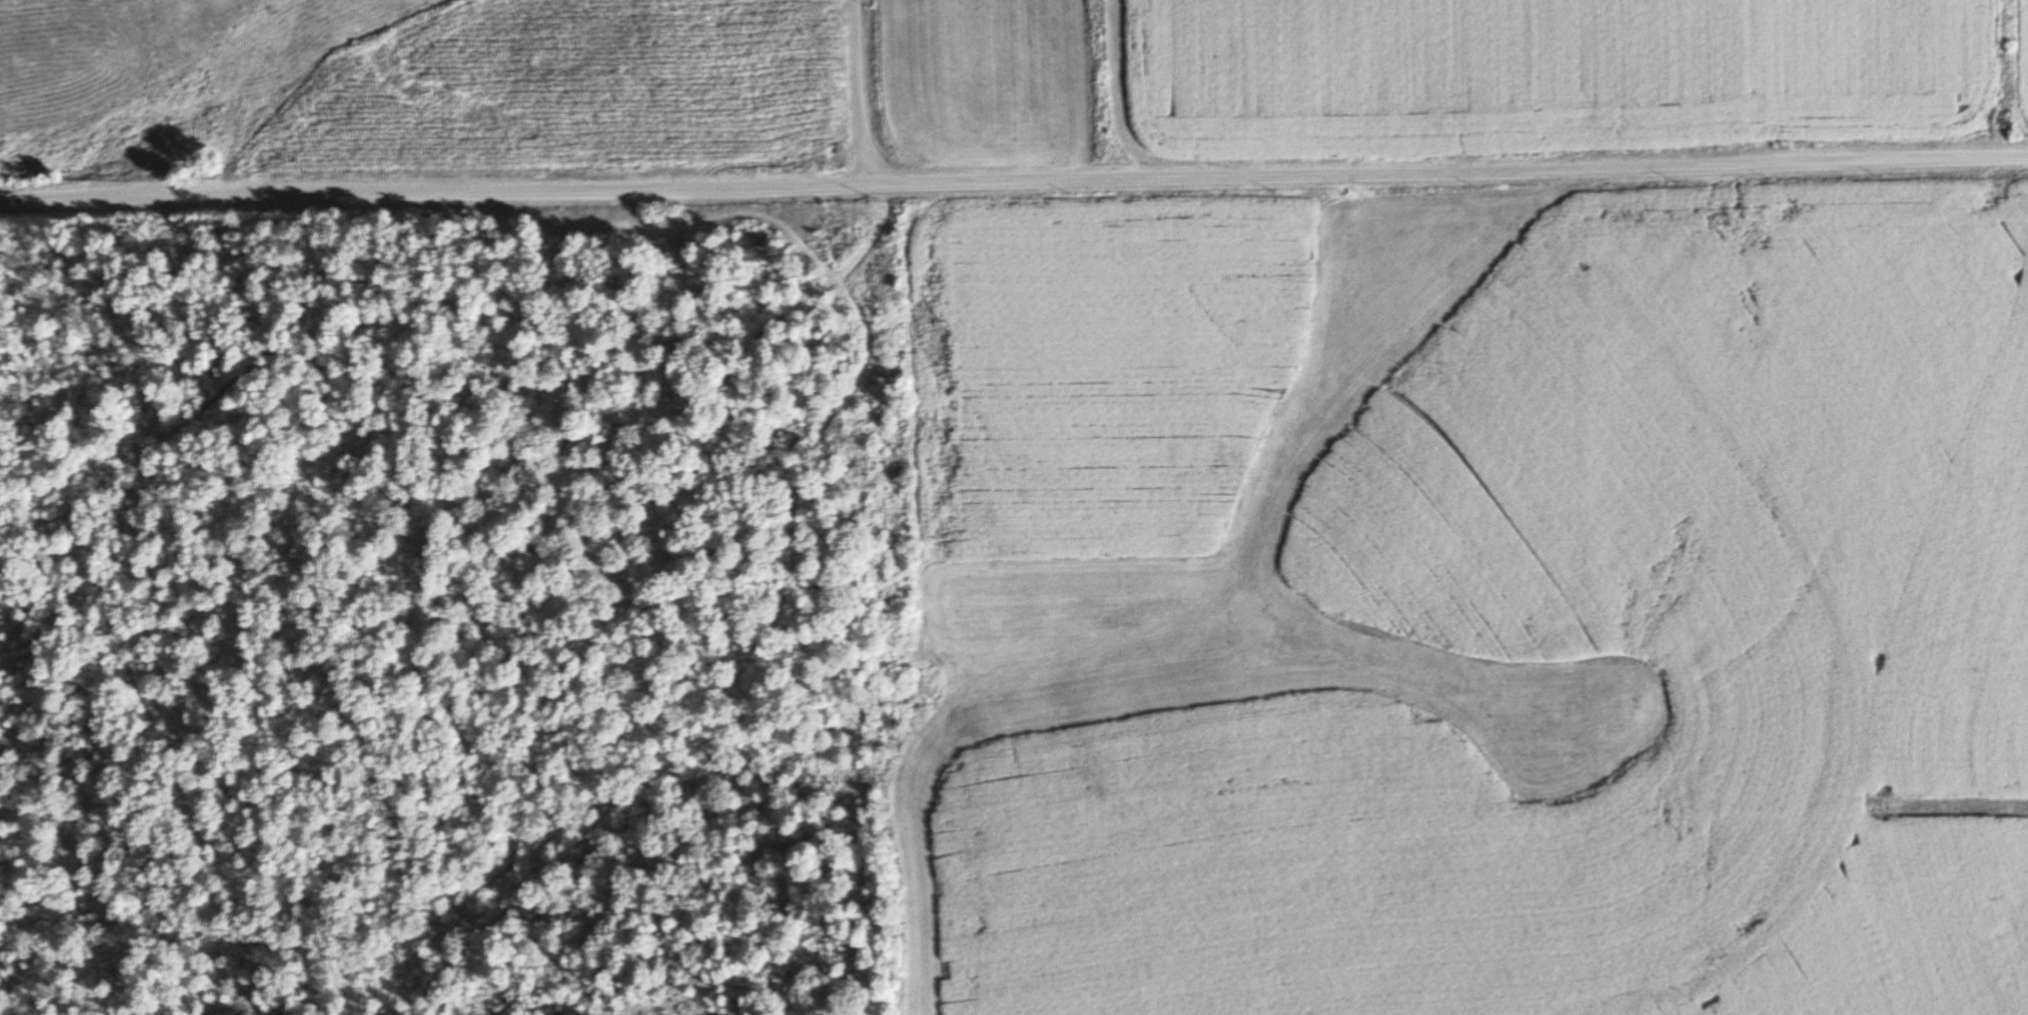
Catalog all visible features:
road: (862, 92)
road: (1013, 180)

